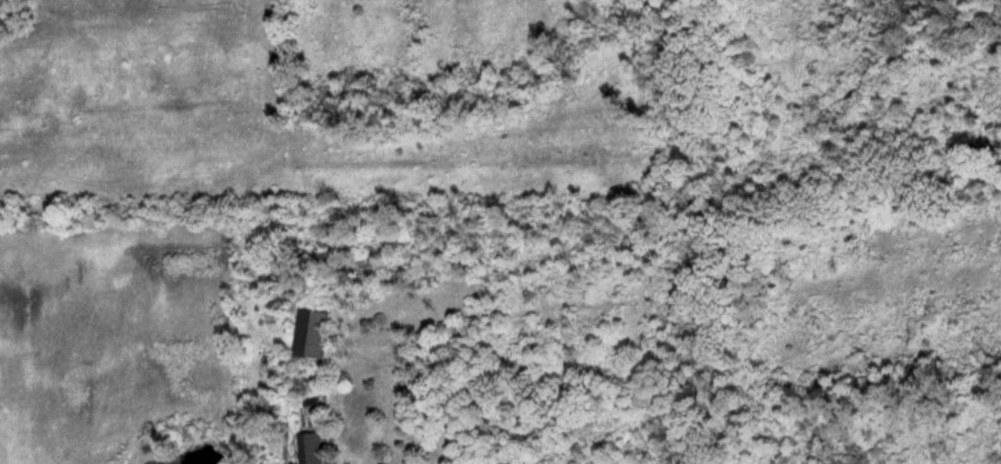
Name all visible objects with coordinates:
building: (317, 335)
building: (313, 404)
building: (313, 448)

